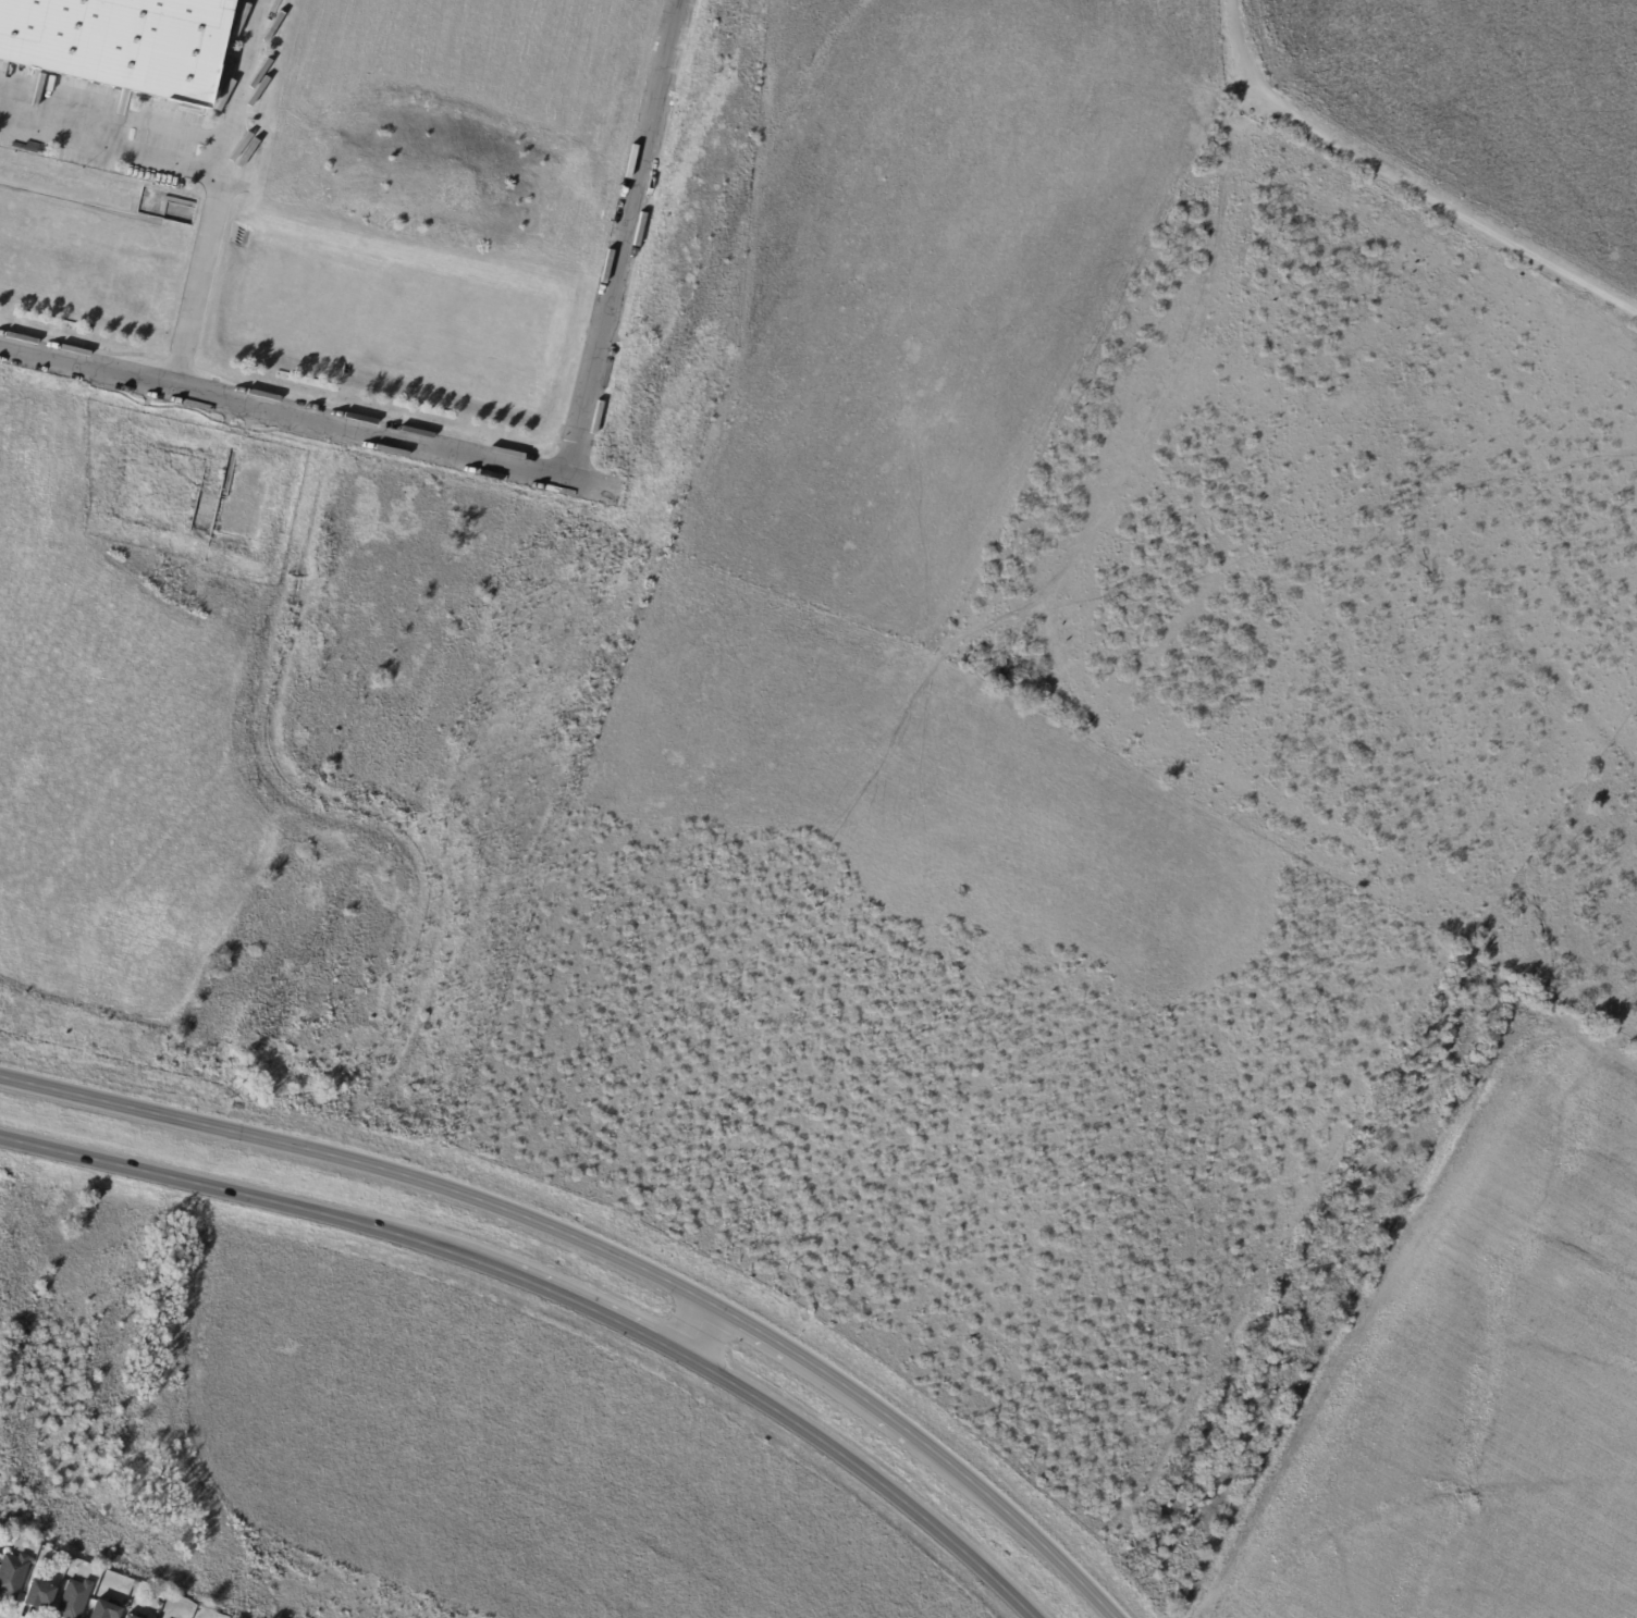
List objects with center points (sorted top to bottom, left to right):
building: (118, 38)
road: (110, 145)
road: (214, 190)
road: (620, 236)
road: (301, 412)
road: (365, 1164)
road: (259, 1198)
road: (600, 1313)
road: (699, 1330)
road: (813, 1364)
road: (866, 1475)
road: (1013, 1521)
building: (0, 1548)
building: (13, 1574)
building: (39, 1595)
building: (76, 1600)
building: (160, 1603)
building: (106, 1610)
building: (128, 1617)
building: (218, 1617)

